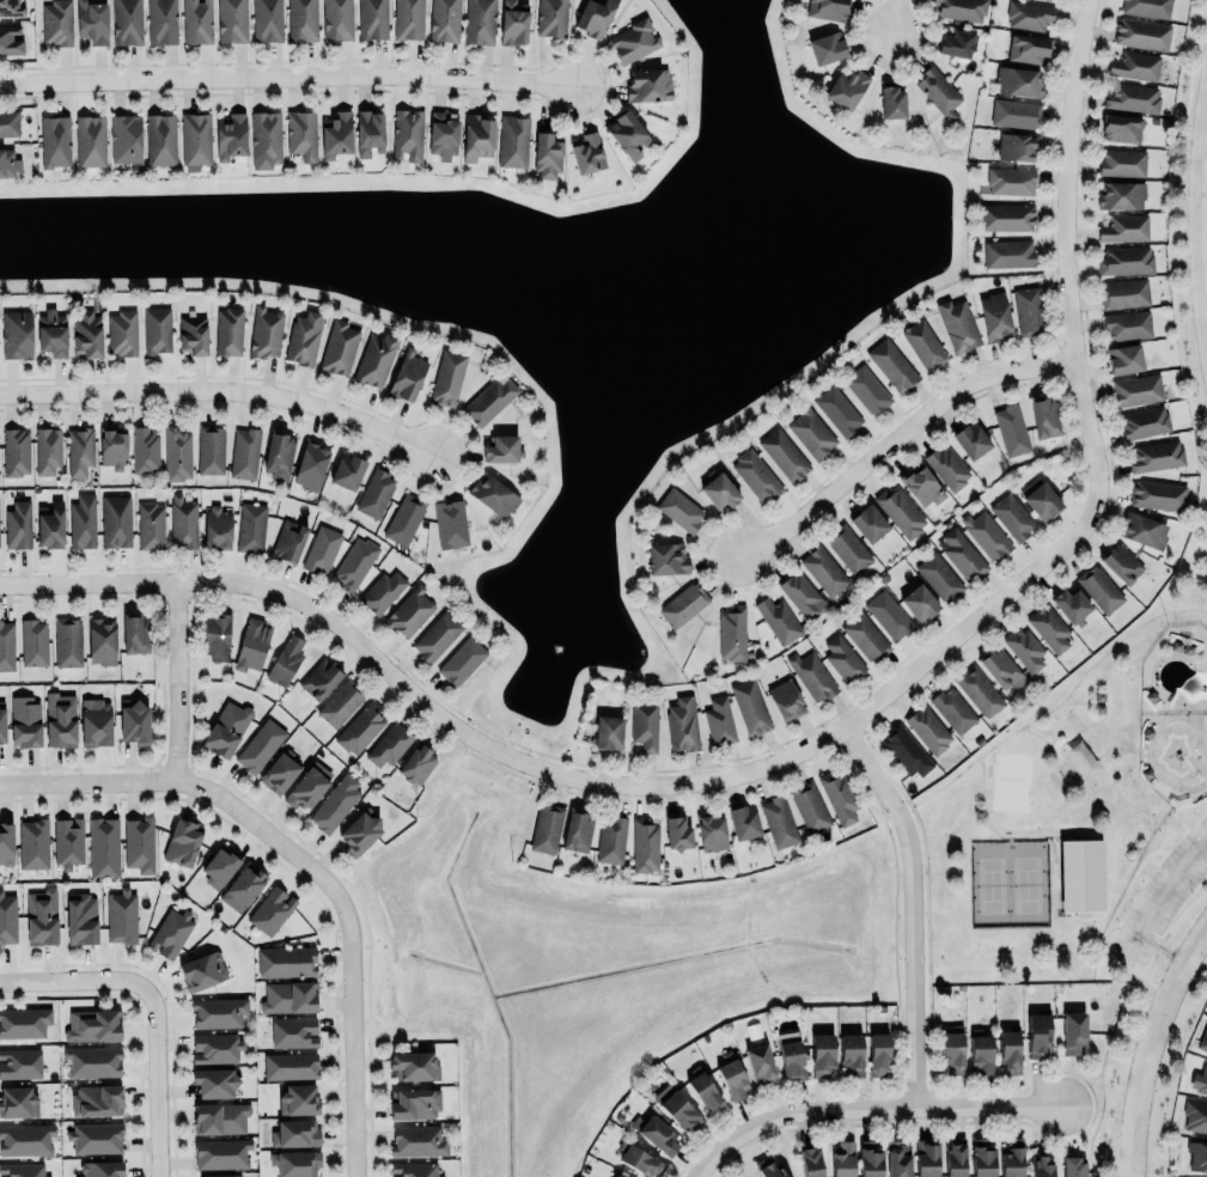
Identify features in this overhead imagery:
building: (11, 7)
building: (1146, 7)
building: (827, 8)
building: (962, 8)
building: (1029, 14)
building: (551, 17)
building: (593, 17)
building: (372, 18)
building: (408, 18)
building: (92, 19)
building: (231, 19)
building: (267, 19)
building: (301, 19)
building: (337, 19)
road: (895, 19)
building: (161, 20)
building: (196, 20)
building: (444, 20)
building: (56, 22)
building: (127, 22)
building: (478, 22)
building: (513, 22)
building: (1141, 33)
building: (10, 38)
building: (633, 38)
building: (956, 43)
building: (825, 47)
building: (1028, 47)
building: (1135, 65)
road: (288, 75)
building: (1019, 79)
building: (647, 84)
building: (846, 86)
building: (938, 90)
building: (1133, 97)
building: (891, 102)
building: (1014, 111)
building: (8, 122)
building: (1121, 126)
building: (368, 129)
building: (299, 132)
building: (404, 132)
building: (627, 132)
building: (230, 133)
building: (337, 133)
building: (441, 134)
building: (124, 136)
building: (263, 136)
building: (476, 136)
building: (160, 138)
building: (55, 139)
building: (195, 139)
building: (89, 140)
building: (513, 140)
building: (1017, 144)
building: (587, 151)
building: (547, 155)
building: (7, 161)
building: (1123, 161)
building: (1010, 181)
road: (1206, 188)
building: (1121, 193)
building: (1006, 215)
building: (1124, 227)
building: (1008, 251)
building: (1126, 258)
building: (1124, 292)
building: (1026, 311)
building: (995, 315)
building: (957, 323)
building: (1127, 324)
building: (156, 329)
building: (51, 330)
building: (228, 330)
building: (122, 331)
building: (264, 331)
building: (17, 333)
building: (87, 333)
building: (191, 334)
building: (305, 335)
building: (923, 342)
building: (339, 347)
building: (1124, 356)
building: (376, 358)
building: (891, 364)
building: (408, 373)
building: (447, 376)
building: (1138, 388)
road: (224, 389)
building: (867, 389)
building: (489, 398)
building: (837, 409)
building: (1044, 415)
building: (1144, 421)
building: (1012, 428)
building: (811, 433)
building: (970, 438)
road: (898, 439)
building: (502, 446)
building: (47, 449)
building: (112, 449)
building: (209, 449)
building: (144, 450)
building: (279, 450)
building: (16, 451)
building: (79, 451)
building: (177, 452)
building: (245, 452)
building: (782, 455)
building: (1157, 455)
building: (311, 463)
building: (947, 466)
building: (346, 470)
building: (756, 474)
building: (922, 483)
building: (719, 489)
building: (374, 493)
building: (493, 494)
building: (1157, 494)
building: (1041, 500)
building: (679, 508)
building: (900, 510)
building: (1012, 514)
building: (404, 518)
building: (83, 519)
building: (115, 520)
building: (184, 522)
building: (450, 522)
building: (17, 523)
building: (867, 523)
building: (50, 525)
building: (150, 525)
building: (217, 526)
building: (251, 526)
building: (1144, 529)
building: (986, 532)
building: (288, 539)
building: (848, 547)
building: (322, 548)
building: (961, 554)
building: (666, 557)
building: (1121, 561)
building: (355, 563)
building: (824, 569)
building: (939, 575)
building: (1097, 586)
building: (382, 590)
building: (801, 594)
building: (918, 598)
building: (683, 603)
building: (1071, 604)
building: (409, 610)
building: (889, 614)
building: (778, 618)
building: (1050, 627)
building: (135, 633)
building: (731, 633)
building: (215, 635)
building: (435, 635)
building: (865, 635)
building: (102, 640)
building: (33, 641)
building: (67, 641)
building: (251, 644)
building: (6, 645)
fountain: (554, 647)
building: (1025, 647)
building: (286, 658)
building: (842, 658)
building: (462, 659)
building: (1001, 666)
building: (811, 676)
building: (319, 677)
road: (177, 681)
building: (980, 690)
building: (785, 699)
building: (340, 701)
building: (750, 705)
building: (952, 709)
building: (60, 718)
building: (133, 719)
building: (719, 720)
building: (1, 721)
building: (25, 721)
building: (96, 724)
building: (682, 724)
building: (645, 725)
building: (360, 726)
building: (225, 727)
building: (928, 728)
building: (608, 731)
building: (260, 744)
building: (388, 744)
road: (815, 744)
building: (906, 750)
building: (416, 763)
building: (279, 769)
building: (307, 785)
road: (208, 788)
building: (839, 795)
building: (335, 803)
building: (807, 805)
building: (779, 818)
building: (743, 821)
building: (545, 827)
building: (360, 829)
park: (1079, 829)
building: (577, 830)
building: (677, 831)
building: (712, 831)
building: (610, 838)
building: (68, 841)
building: (182, 841)
building: (6, 842)
building: (33, 843)
building: (138, 843)
building: (644, 843)
building: (103, 846)
building: (219, 865)
building: (1080, 874)
building: (242, 886)
road: (1152, 903)
road: (913, 908)
building: (272, 909)
building: (122, 915)
building: (41, 916)
building: (7, 917)
building: (81, 917)
building: (170, 932)
building: (287, 959)
building: (202, 970)
road: (74, 977)
building: (288, 996)
building: (218, 1011)
building: (24, 1022)
building: (92, 1024)
building: (293, 1031)
building: (1038, 1031)
building: (1073, 1031)
building: (1203, 1041)
building: (217, 1047)
road: (1152, 1048)
building: (952, 1049)
building: (878, 1051)
building: (1010, 1051)
building: (982, 1053)
building: (790, 1054)
building: (849, 1054)
building: (821, 1055)
road: (350, 1056)
building: (92, 1061)
building: (20, 1062)
building: (761, 1063)
building: (289, 1065)
building: (413, 1065)
building: (732, 1079)
building: (1200, 1079)
road: (156, 1081)
building: (214, 1081)
building: (705, 1091)
building: (96, 1098)
building: (298, 1098)
building: (19, 1100)
building: (413, 1103)
building: (677, 1108)
road: (877, 1108)
building: (1195, 1116)
building: (219, 1117)
building: (656, 1132)
building: (295, 1133)
building: (96, 1136)
building: (26, 1139)
building: (416, 1140)
building: (220, 1152)
building: (1197, 1154)
building: (956, 1157)
building: (898, 1158)
building: (926, 1158)
building: (982, 1158)
building: (1012, 1158)
building: (640, 1159)
building: (842, 1159)
building: (870, 1159)
building: (297, 1161)
building: (811, 1161)
building: (1040, 1165)
building: (1073, 1165)
building: (768, 1167)
building: (100, 1169)
building: (415, 1169)
building: (22, 1170)
road: (701, 1170)
building: (221, 1175)
building: (615, 1176)

